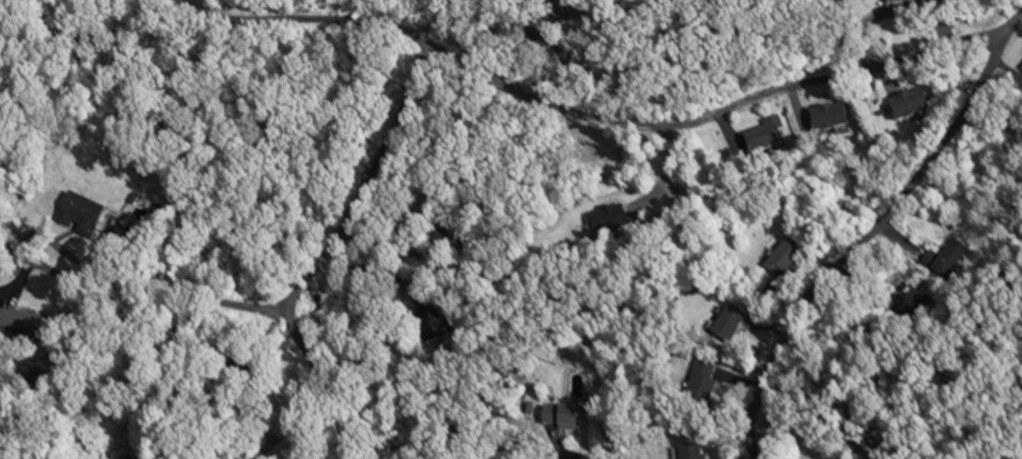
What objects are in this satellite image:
building: (887, 0)
road: (308, 16)
road: (851, 30)
road: (984, 76)
building: (908, 107)
road: (716, 110)
building: (827, 119)
building: (765, 139)
road: (365, 182)
building: (953, 251)
building: (782, 260)
road: (818, 288)
road: (128, 295)
building: (14, 323)
building: (728, 326)
road: (314, 386)
building: (700, 386)
building: (558, 419)
building: (690, 452)

